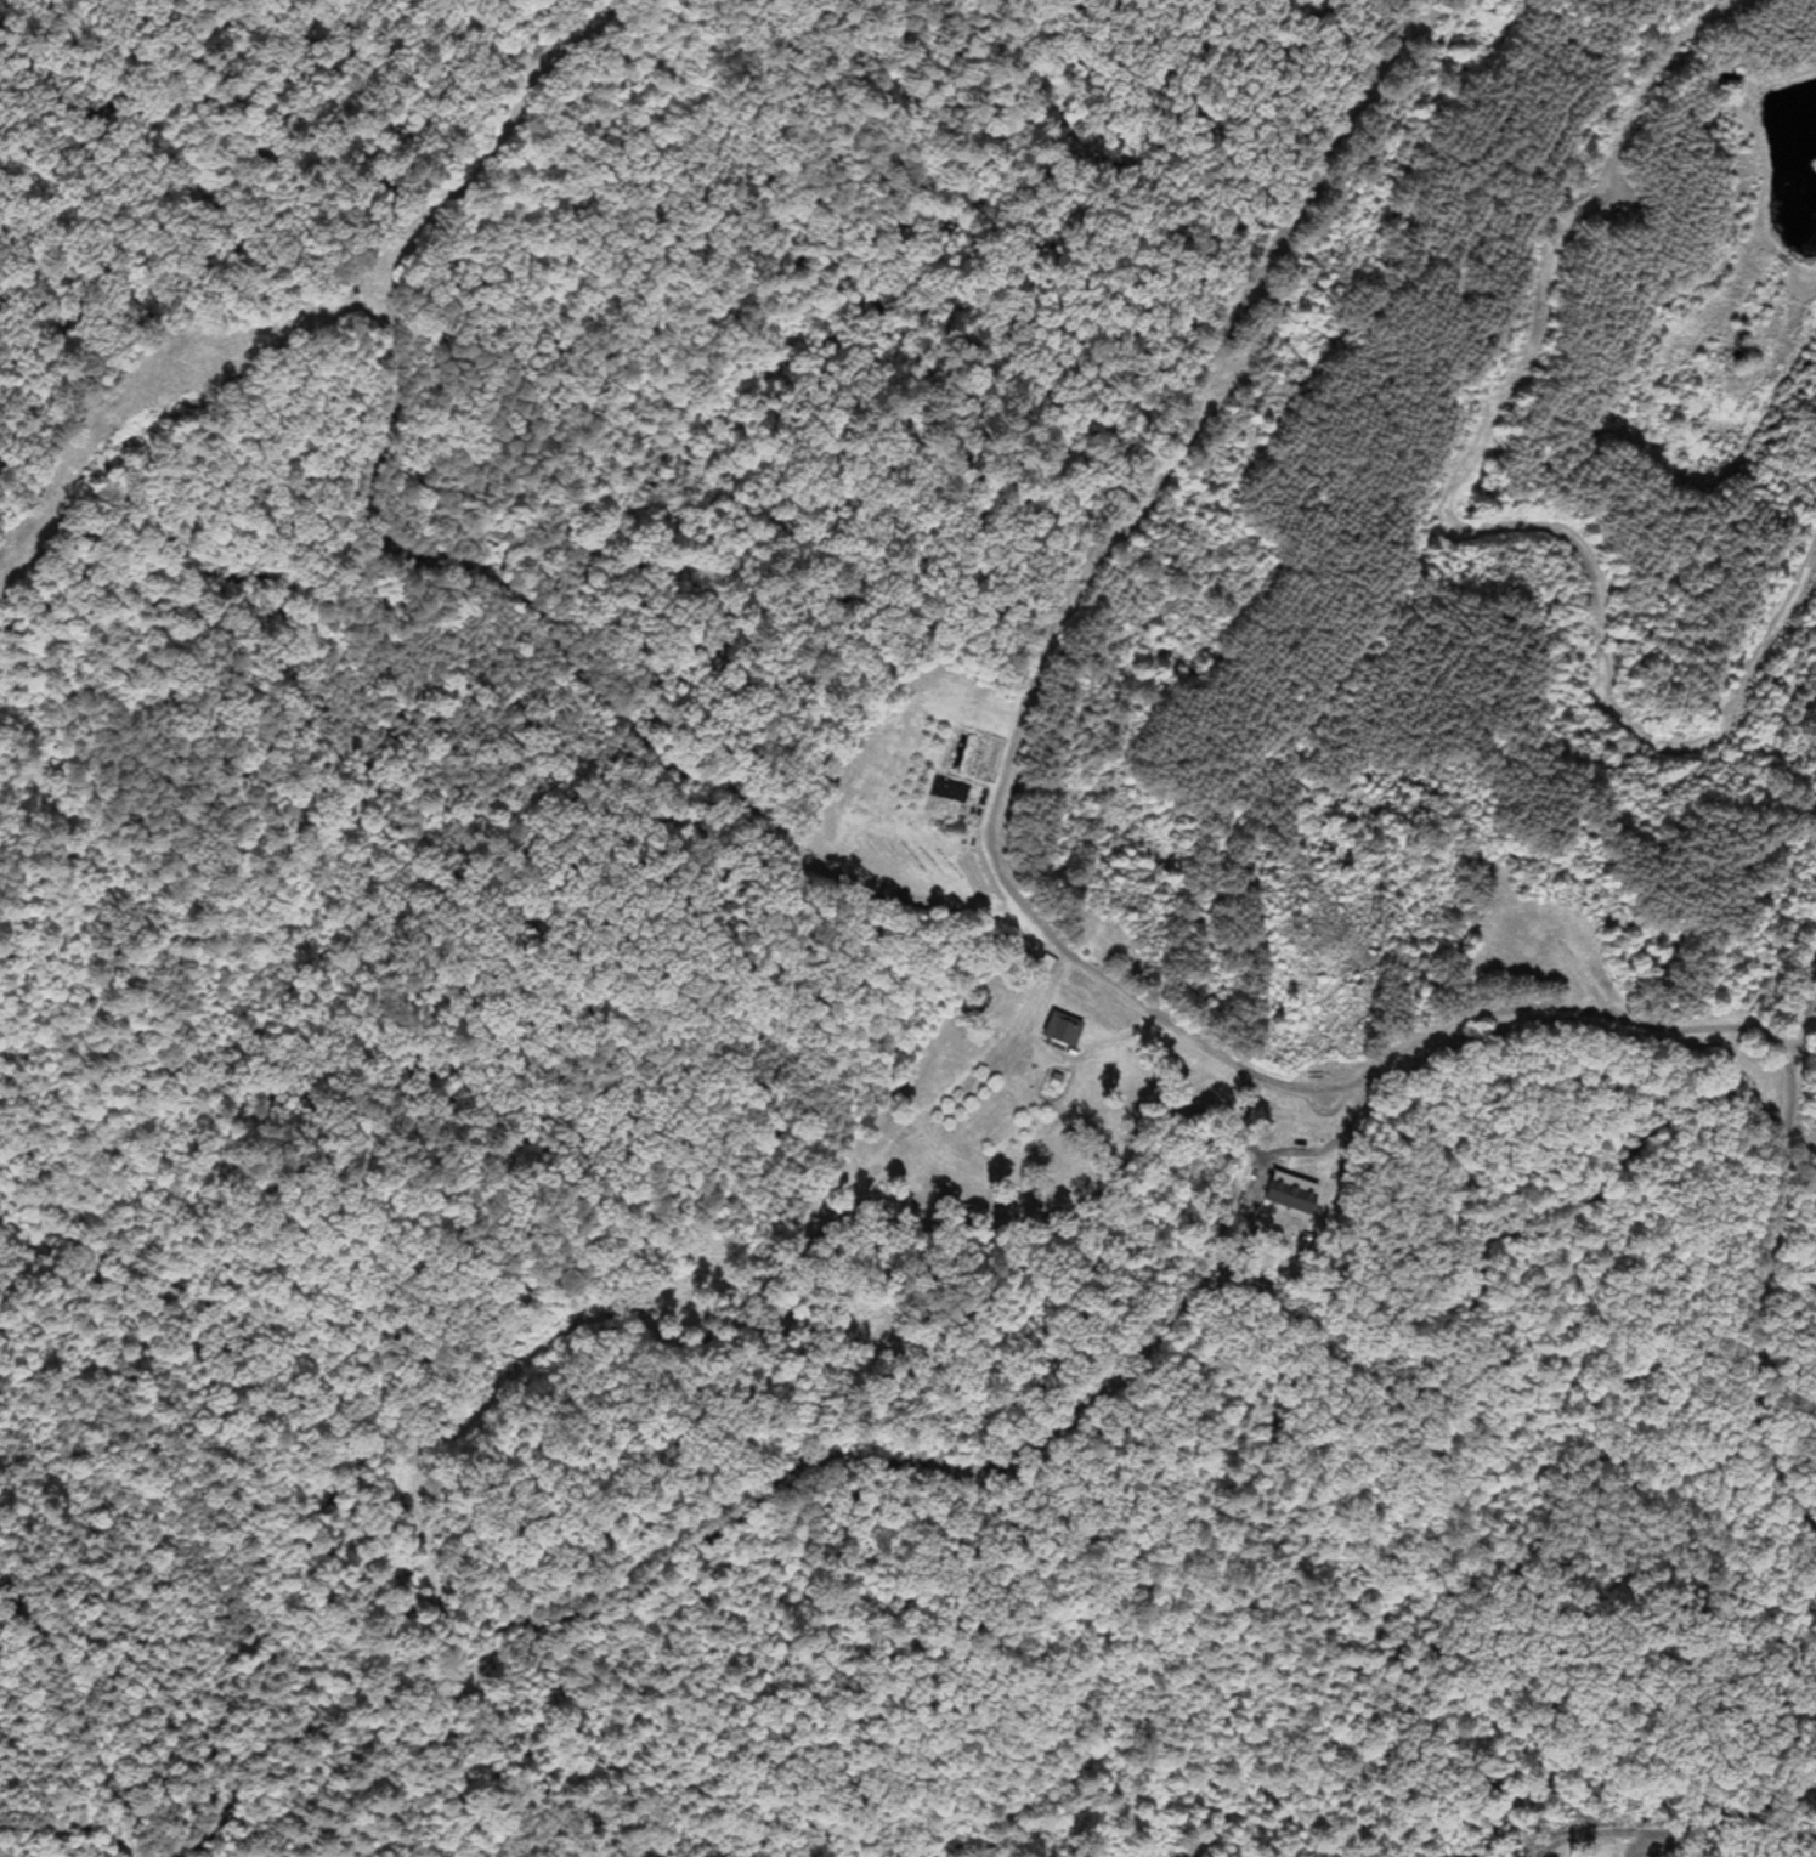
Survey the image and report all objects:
road: (1147, 466)
road: (1035, 996)
road: (1704, 1015)
building: (1292, 1198)

